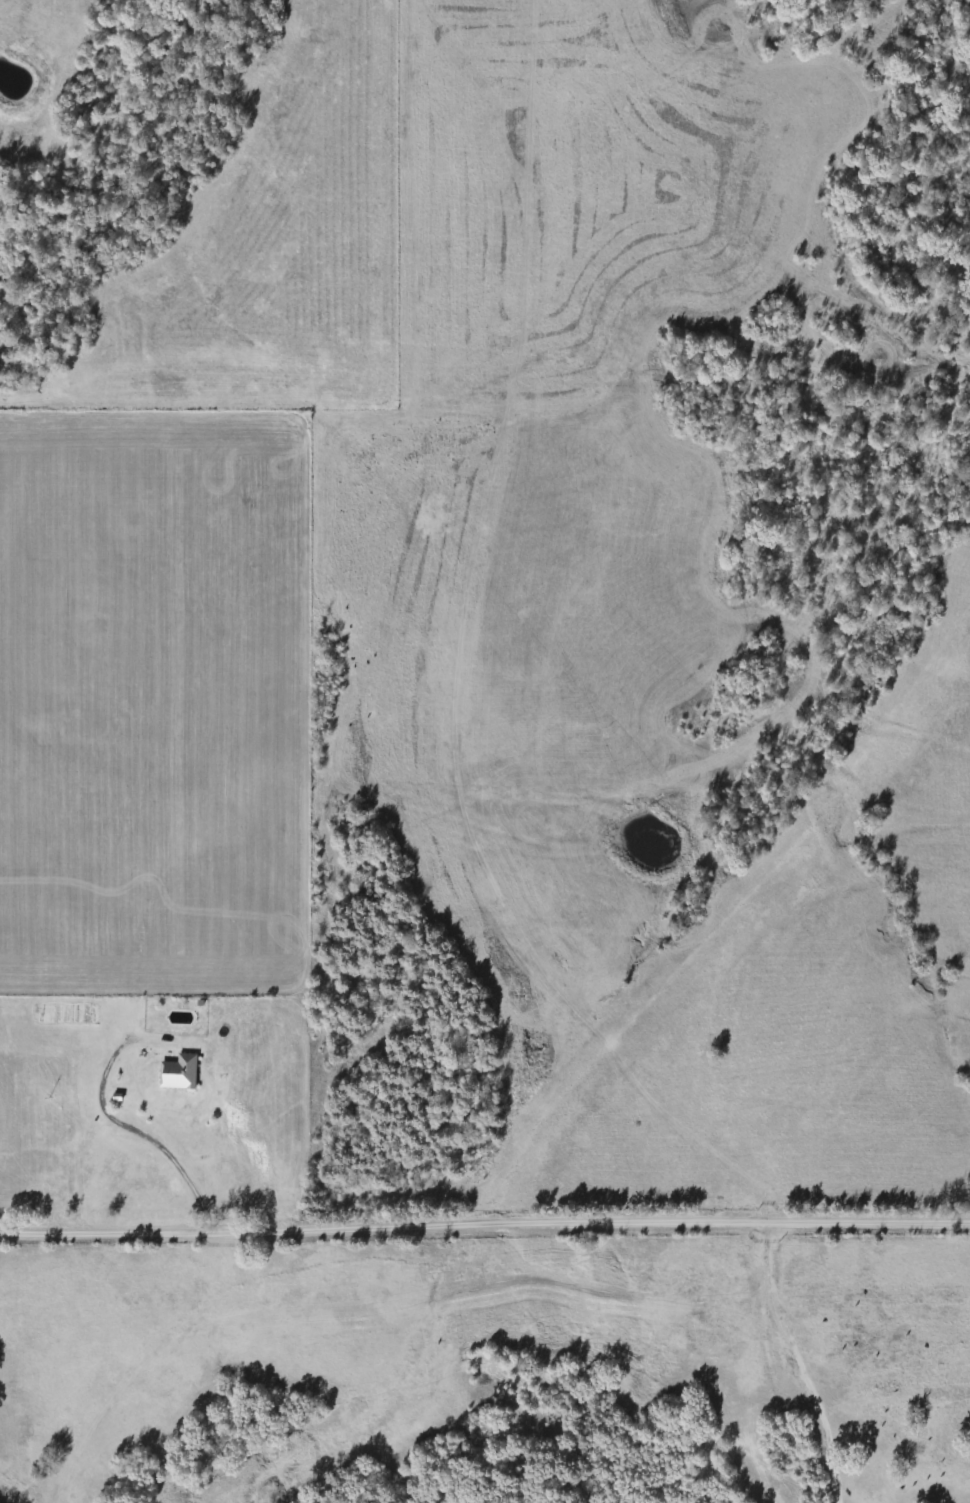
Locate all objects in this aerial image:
building: (181, 1073)
road: (187, 1162)
road: (484, 1225)
road: (778, 1365)

